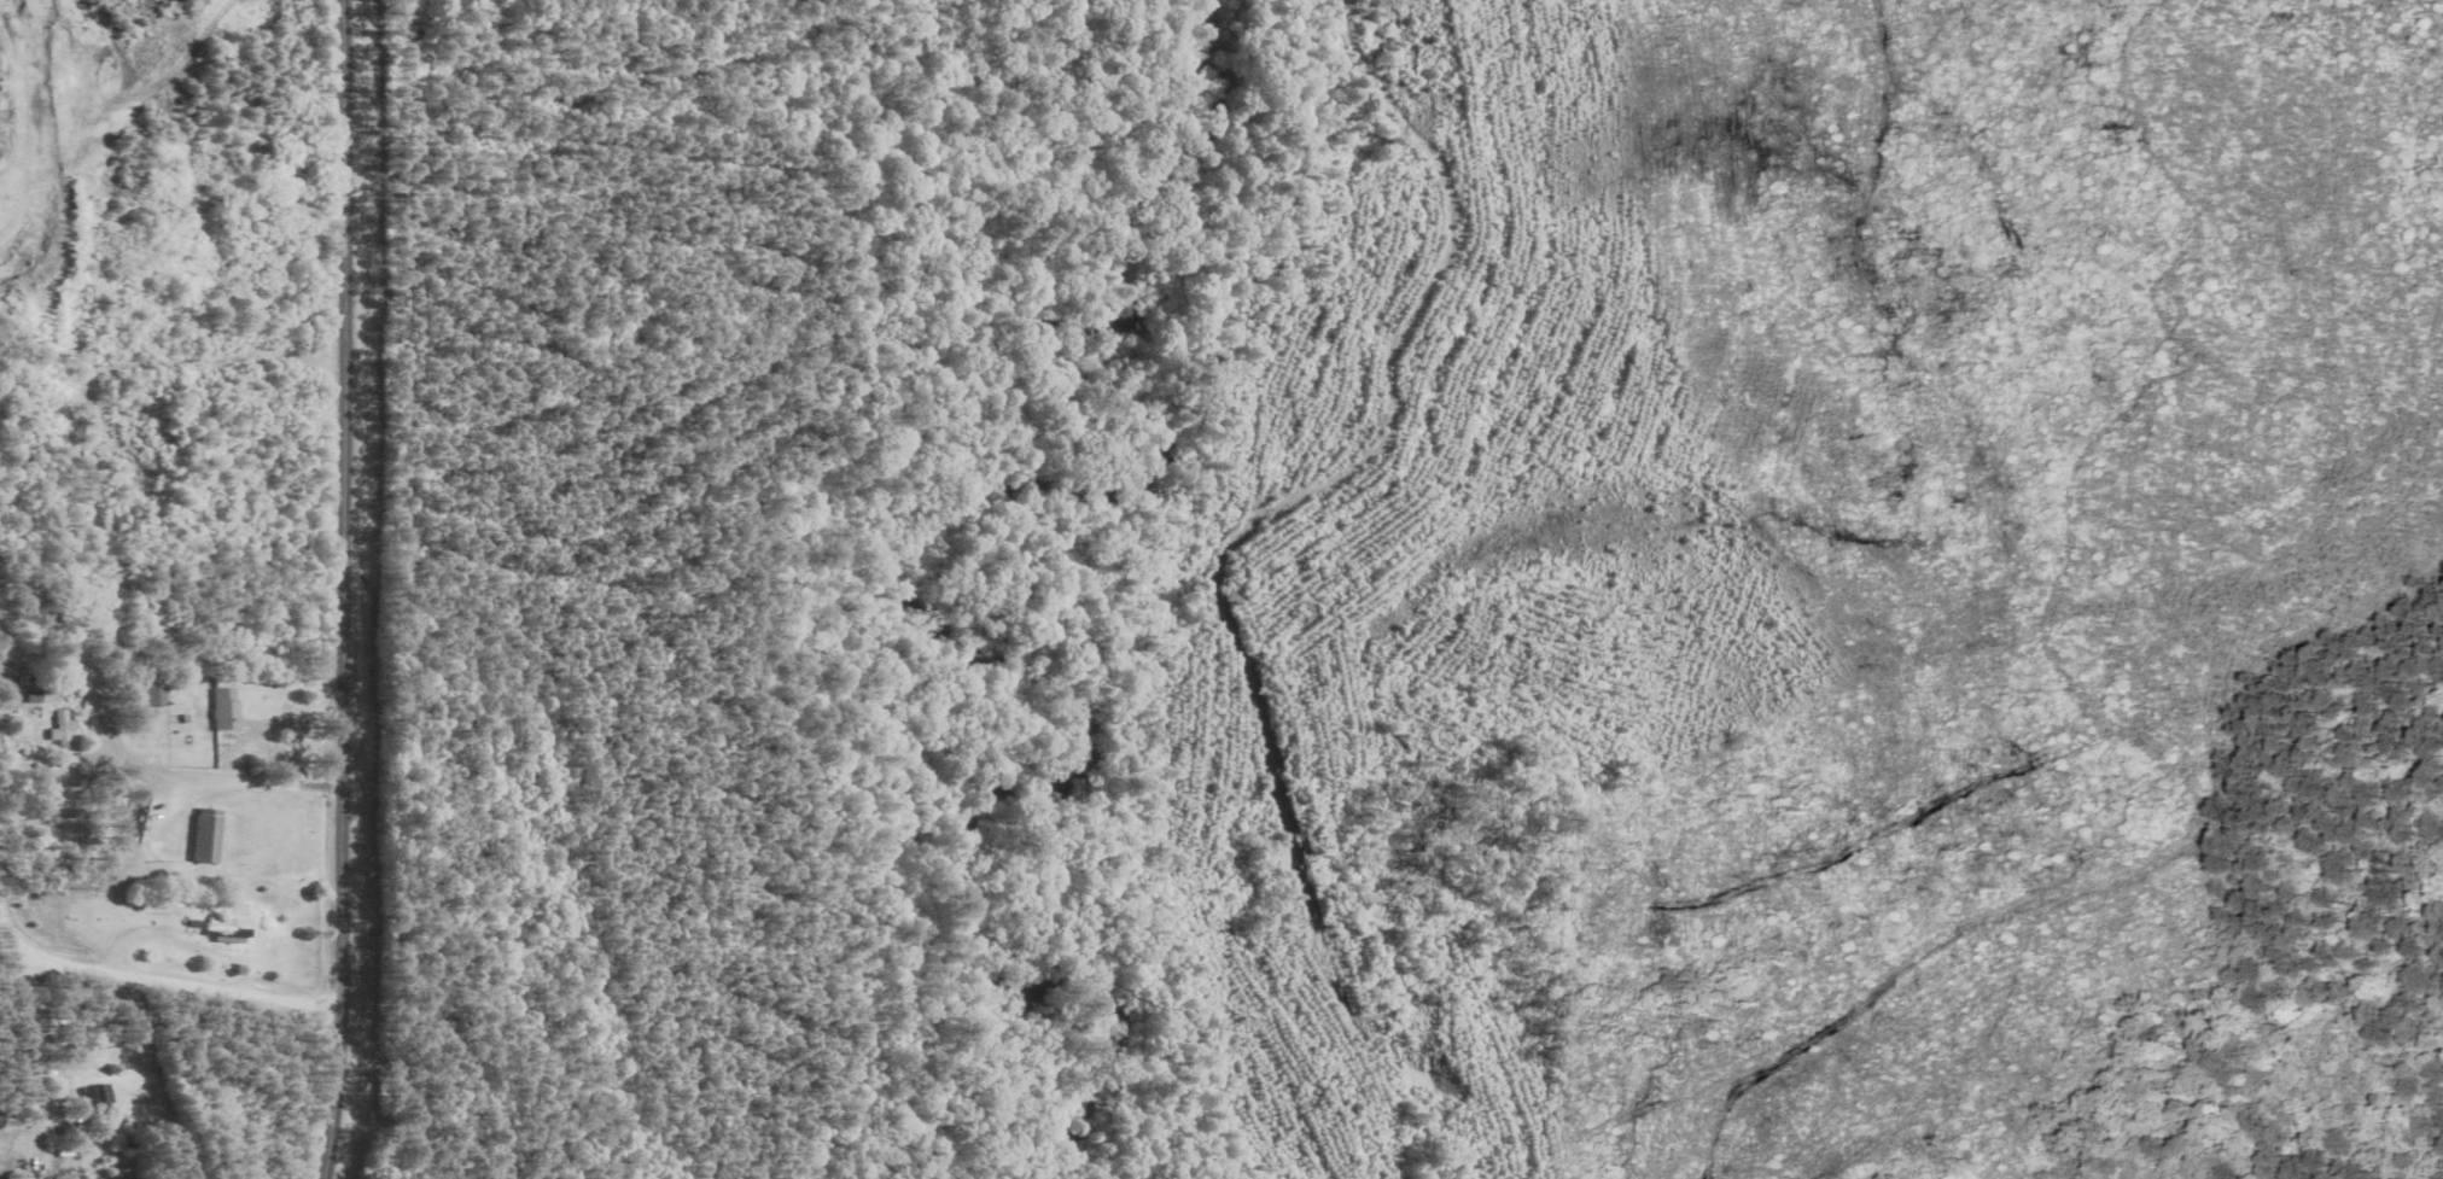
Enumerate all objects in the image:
road: (339, 590)
building: (144, 694)
building: (220, 710)
building: (56, 729)
road: (222, 781)
building: (133, 818)
building: (200, 836)
building: (220, 927)
road: (158, 982)
building: (91, 1098)

